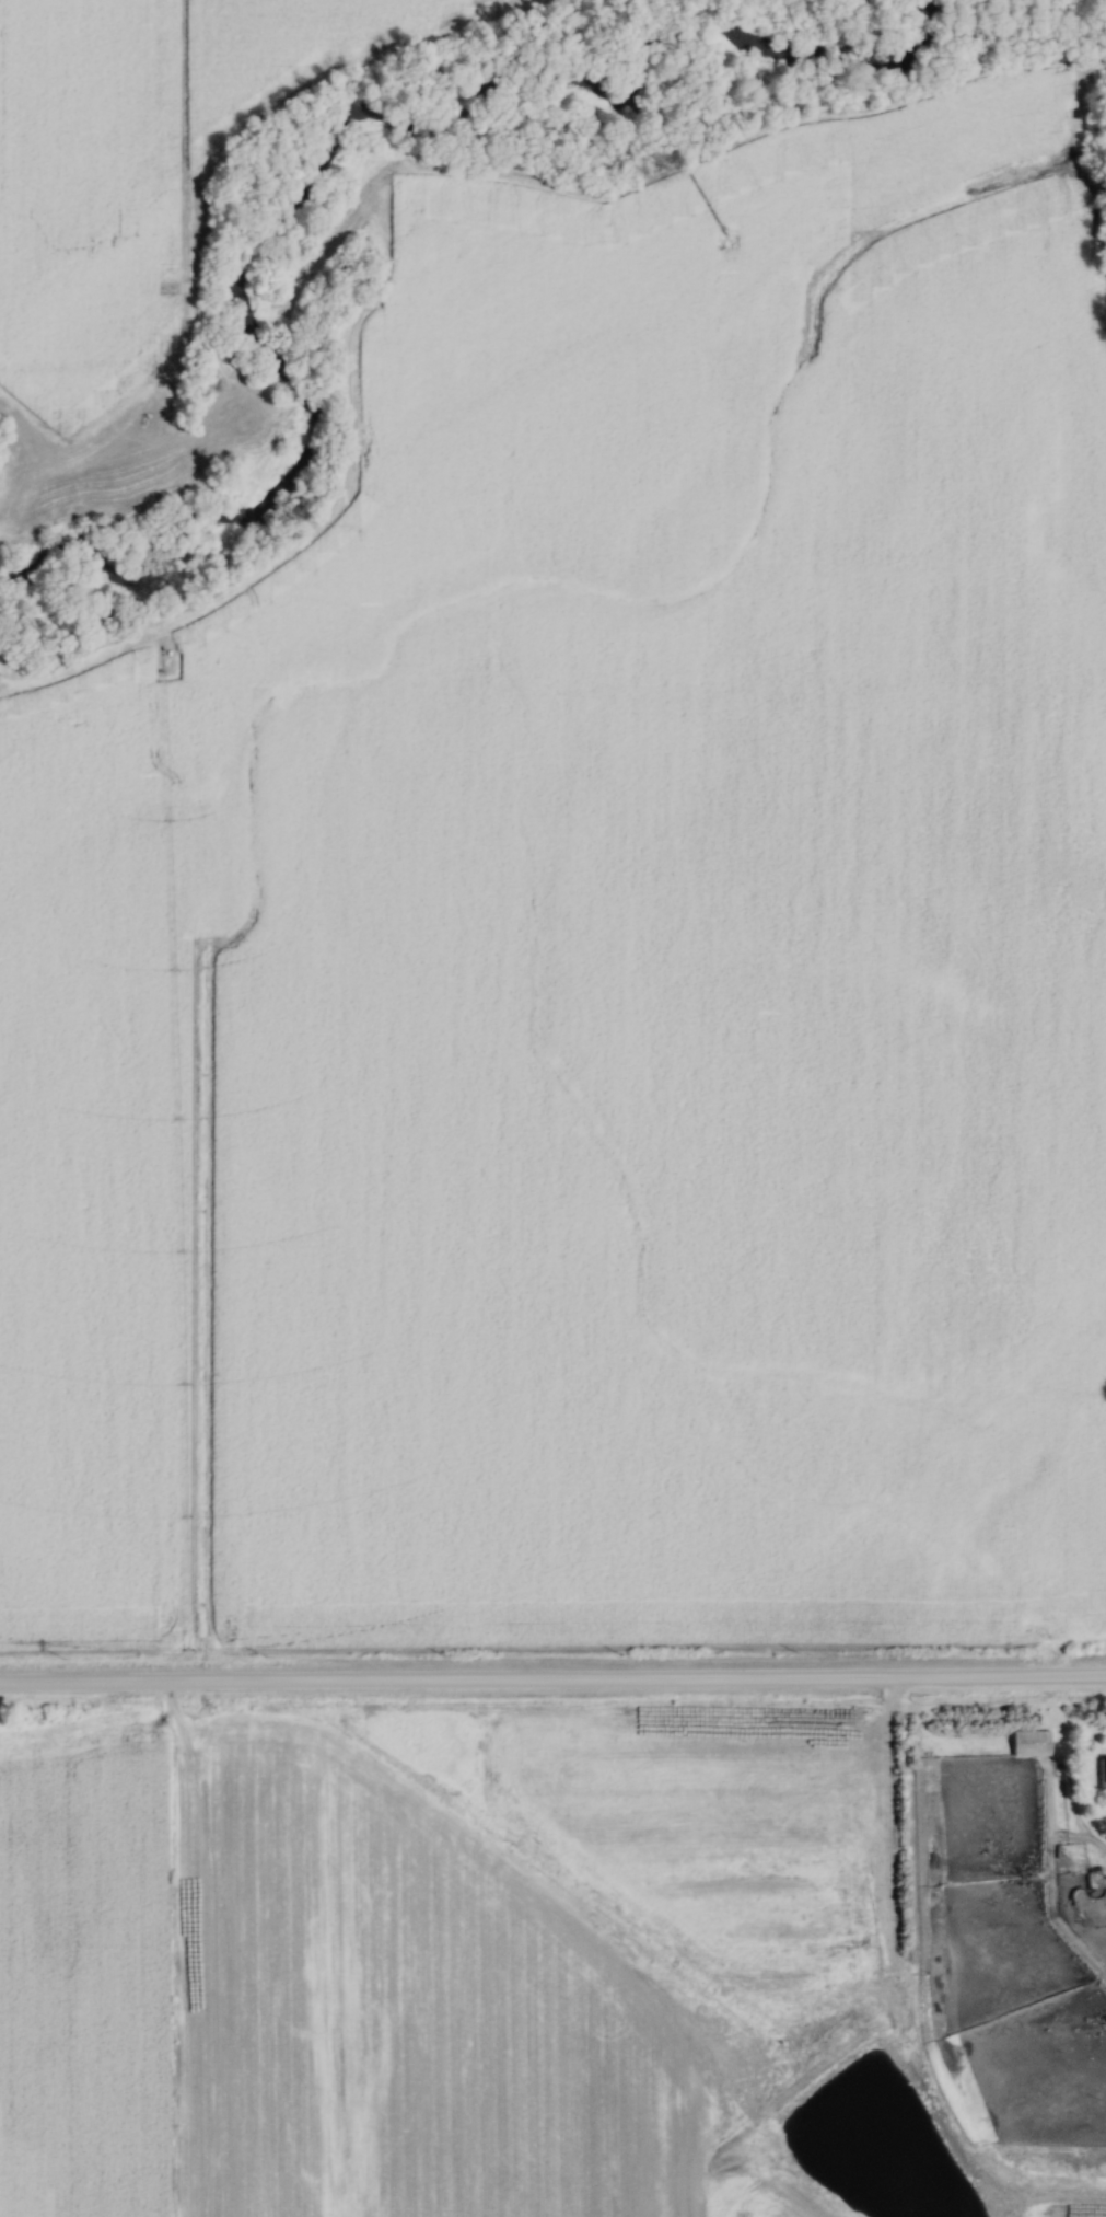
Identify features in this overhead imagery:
road: (552, 1682)
building: (1031, 1742)
building: (1103, 1771)

